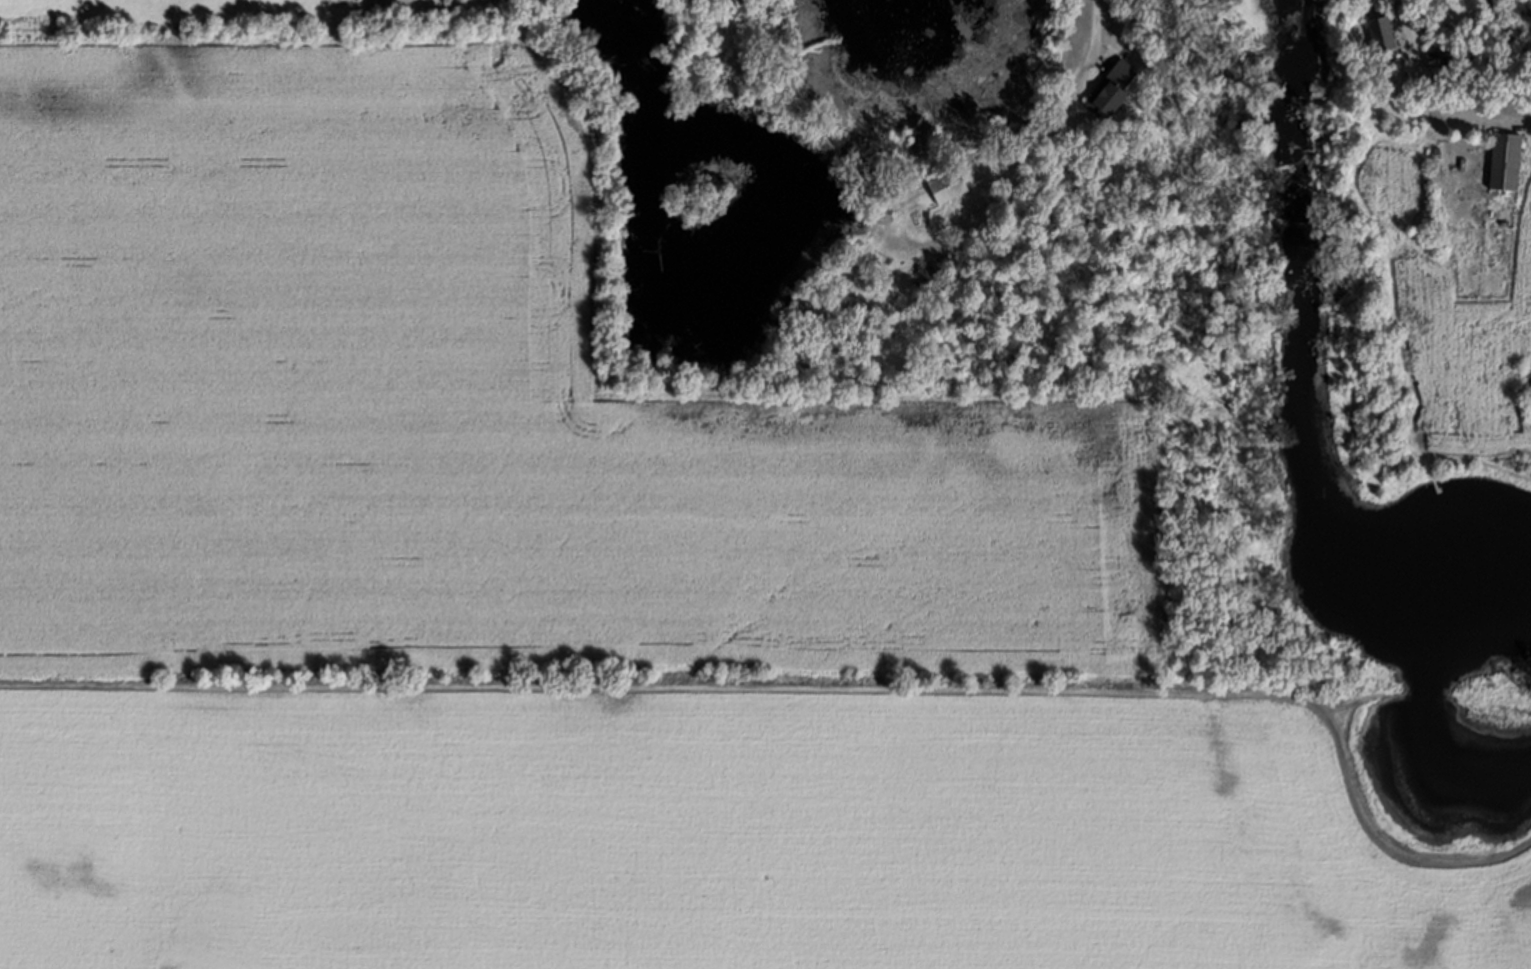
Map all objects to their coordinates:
road: (1404, 24)
building: (1375, 35)
building: (1119, 90)
road: (1037, 144)
building: (1501, 163)
building: (953, 186)

